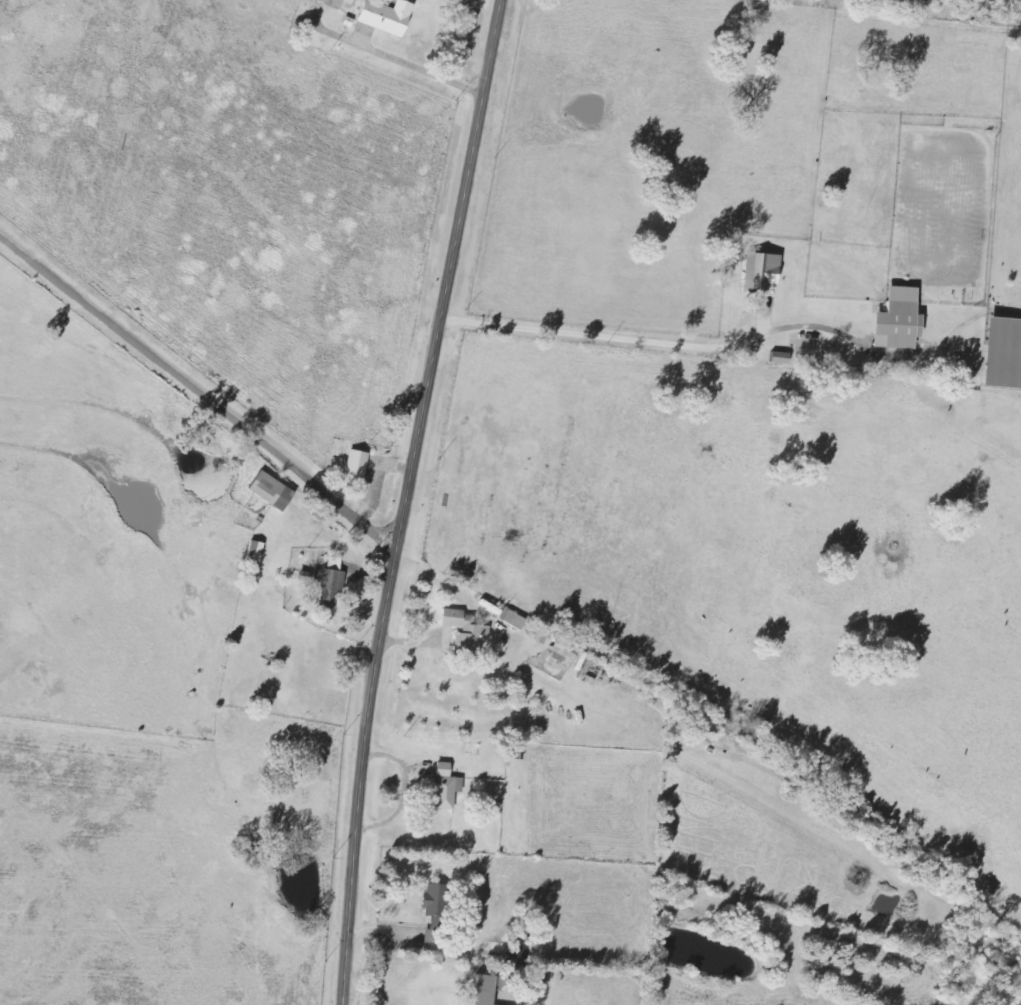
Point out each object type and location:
building: (334, 3)
building: (388, 17)
building: (758, 271)
building: (893, 320)
road: (599, 339)
building: (777, 358)
road: (198, 393)
building: (355, 463)
building: (268, 490)
road: (406, 500)
building: (327, 585)
building: (510, 619)
building: (464, 632)
building: (561, 651)
building: (582, 666)
building: (443, 787)
building: (432, 899)

